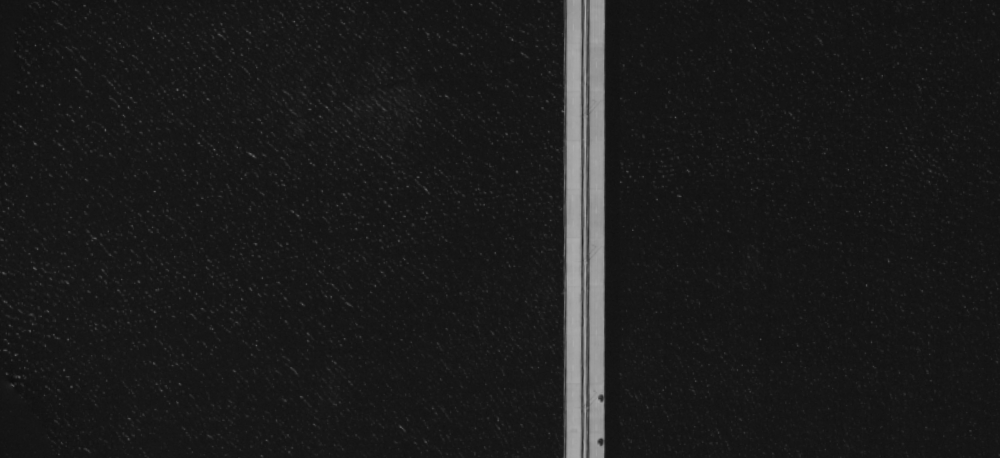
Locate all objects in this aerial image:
road: (581, 228)
road: (605, 229)

